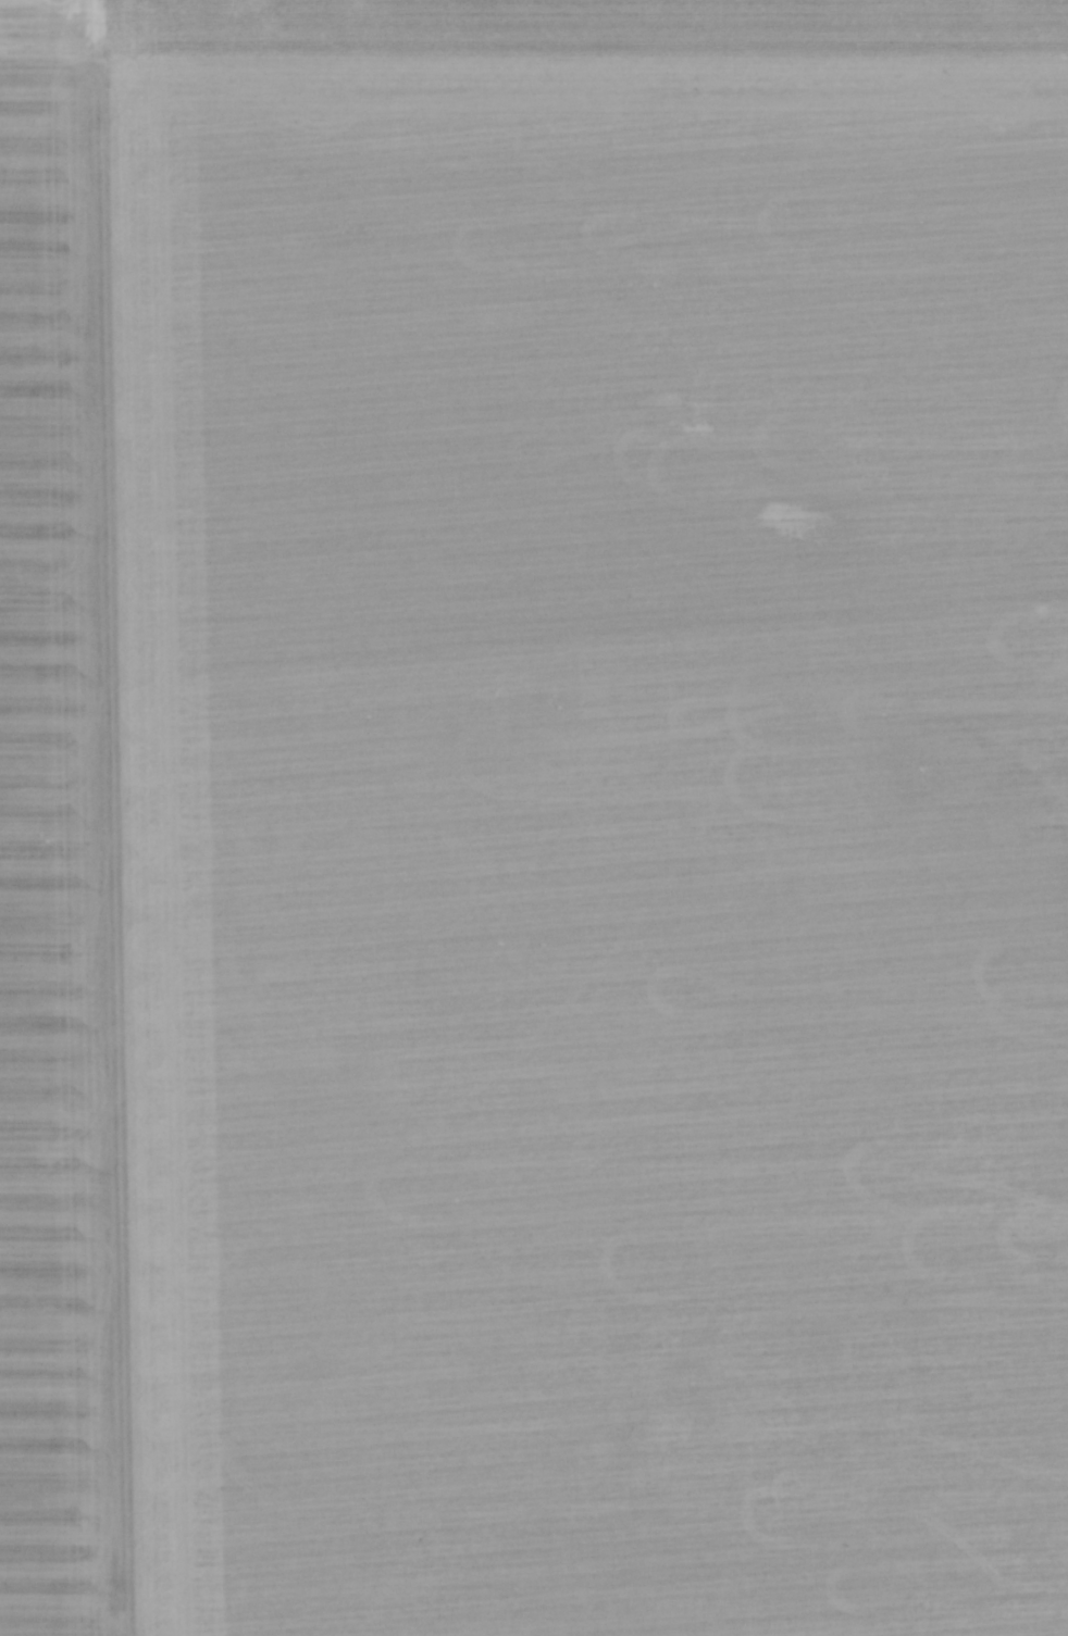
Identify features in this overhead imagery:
crop: (531, 853)

